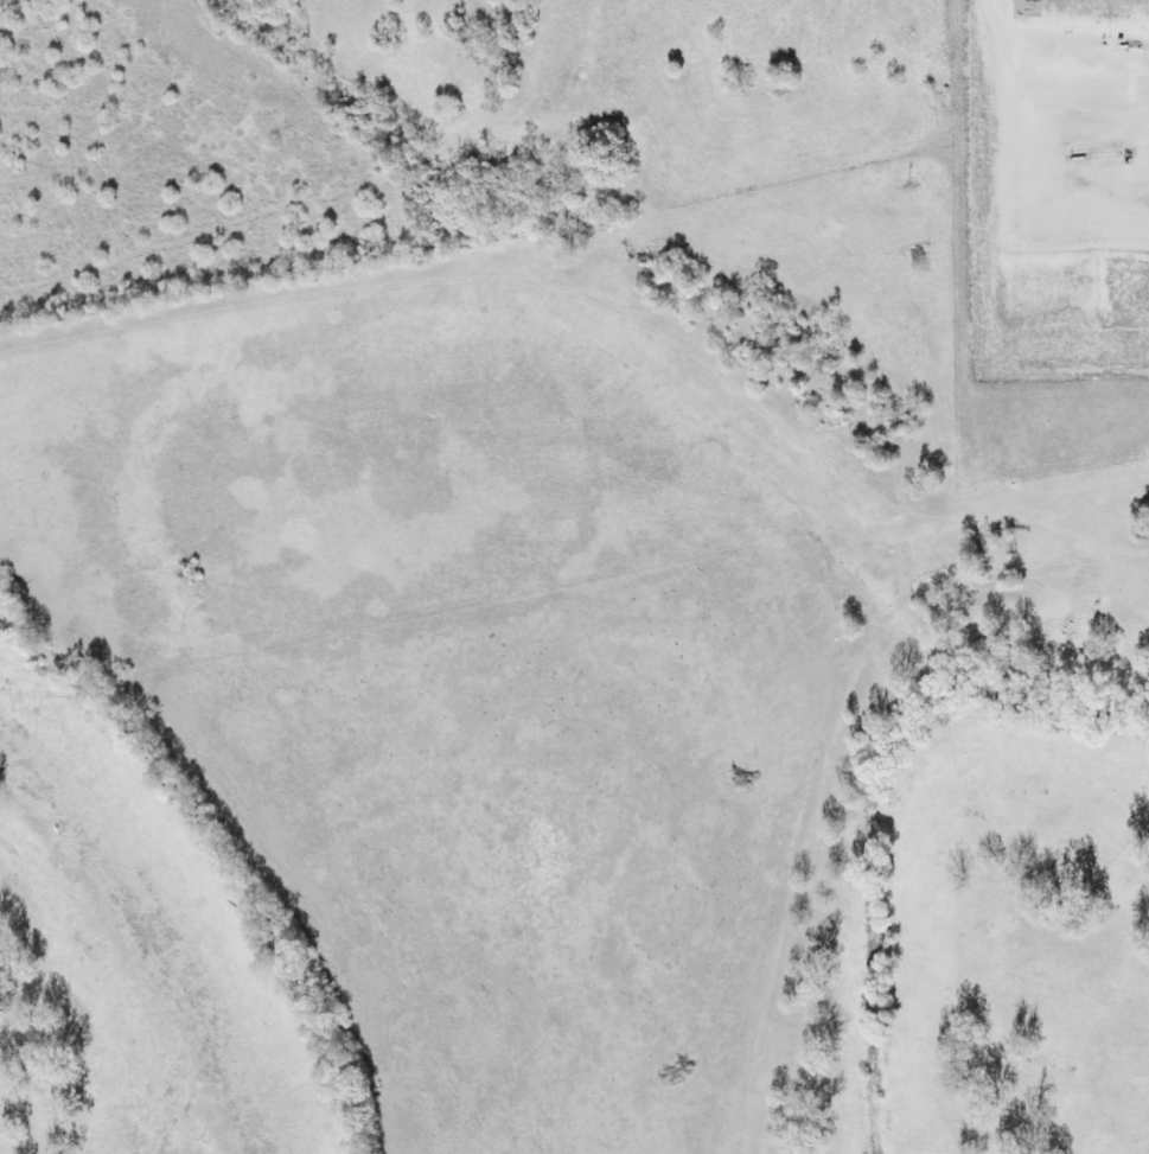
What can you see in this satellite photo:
road: (996, 15)

